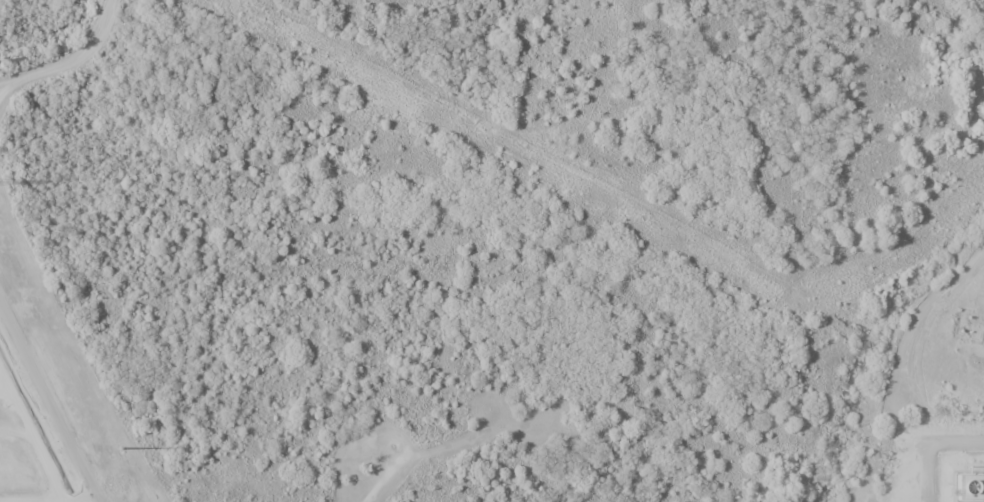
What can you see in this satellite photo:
road: (73, 61)
road: (48, 404)
power tower: (119, 448)
building: (969, 487)

